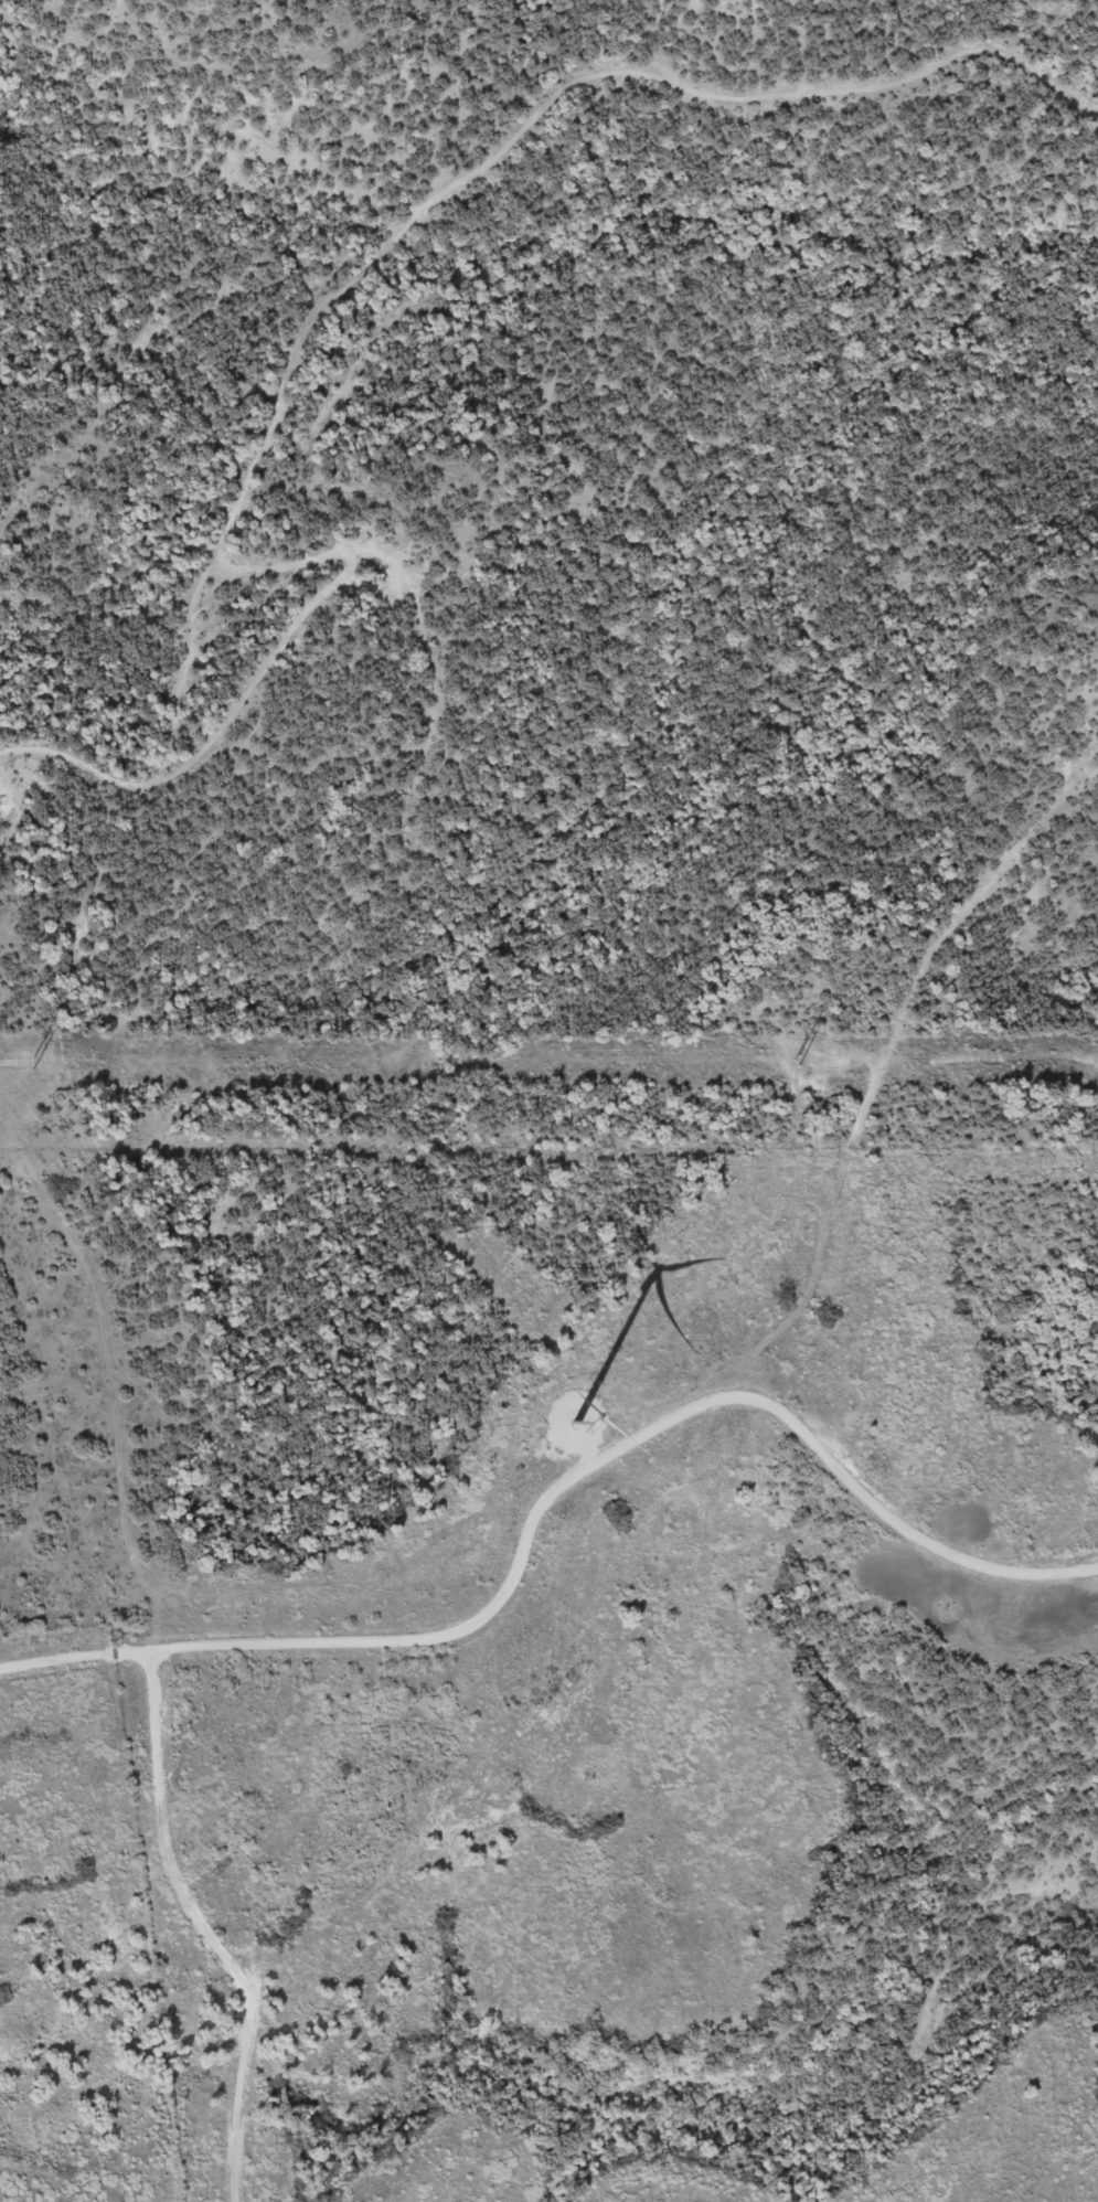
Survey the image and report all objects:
road: (328, 308)
power tower: (798, 1057)
power tower: (30, 1059)
wind turbine: (559, 1423)

